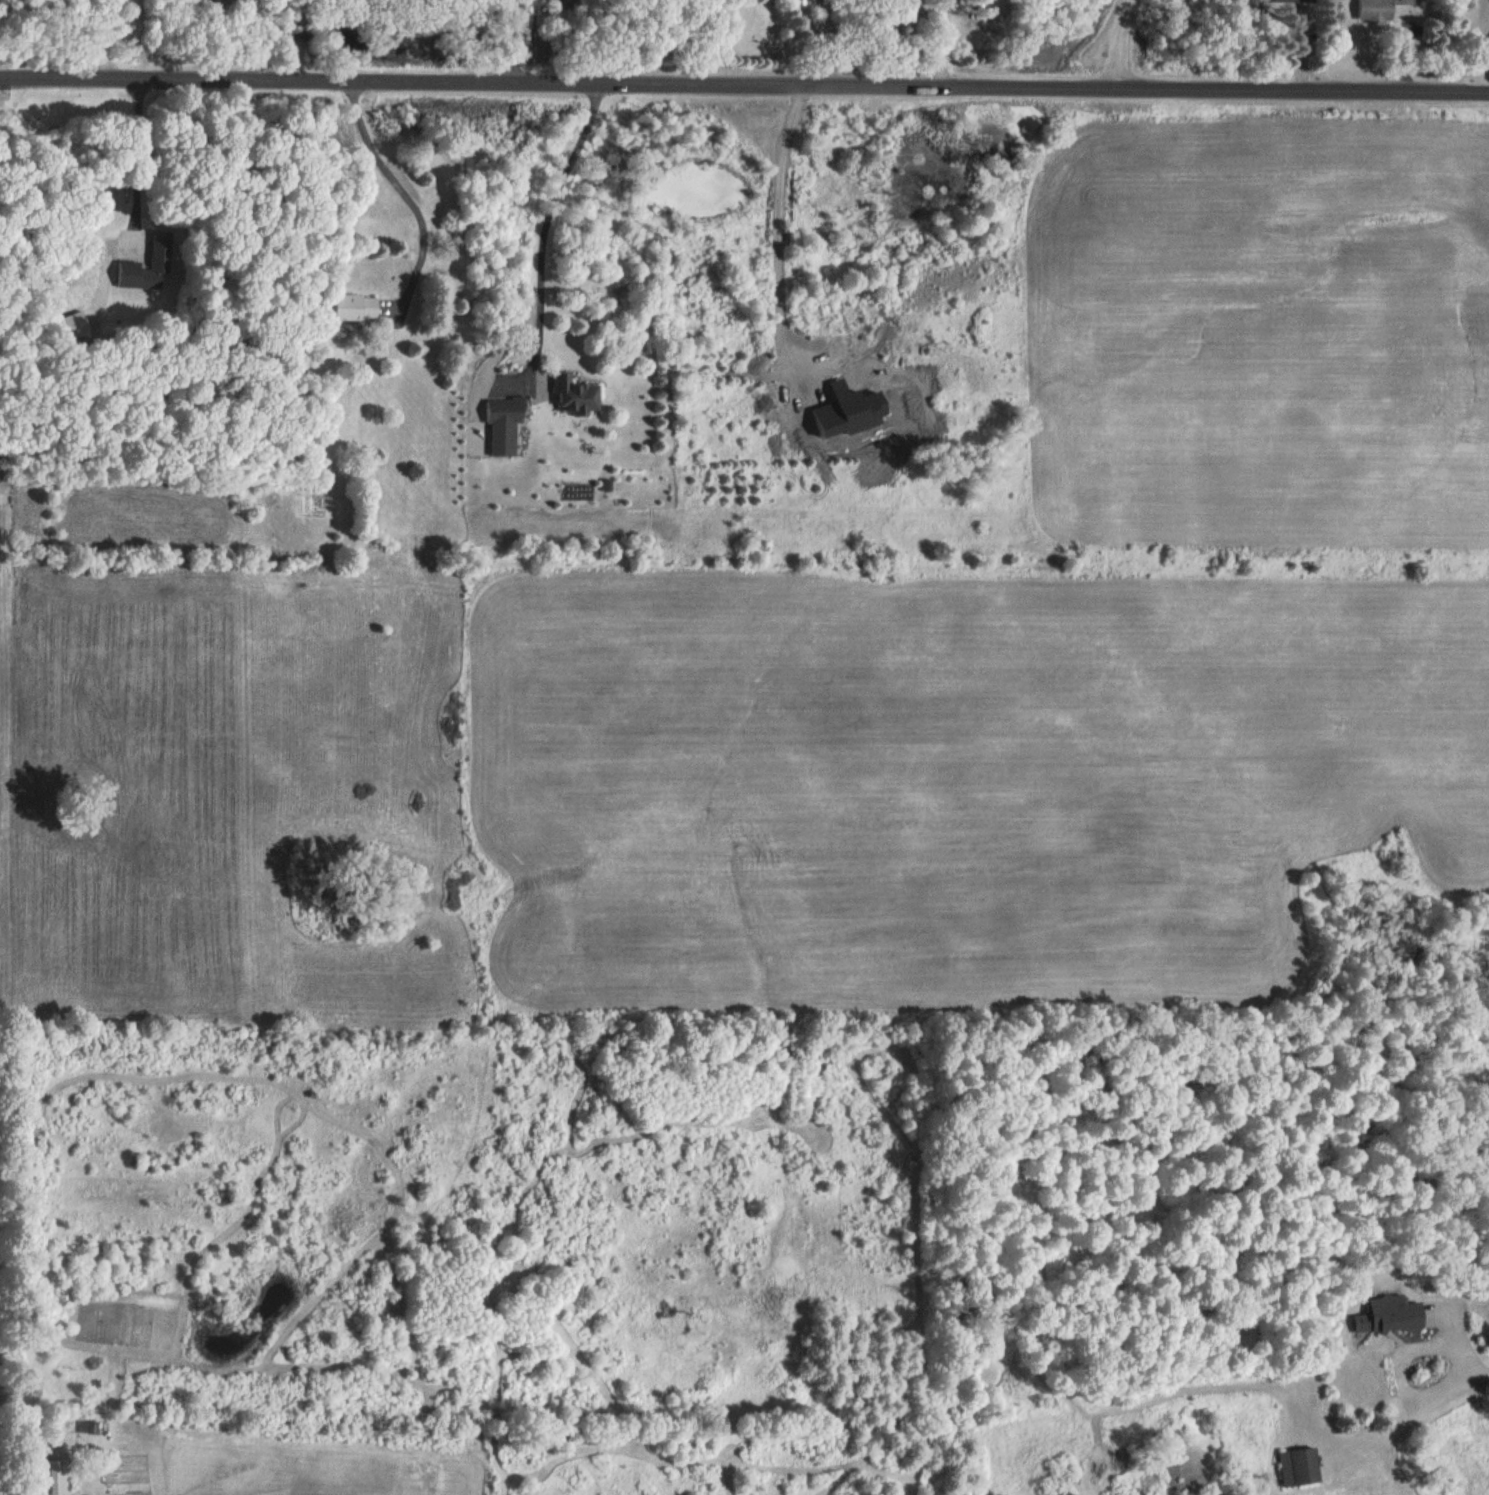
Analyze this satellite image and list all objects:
building: (1273, 1)
building: (1369, 10)
road: (516, 39)
road: (1111, 42)
road: (1459, 45)
road: (744, 80)
road: (136, 158)
road: (405, 190)
road: (544, 225)
building: (153, 261)
building: (366, 304)
building: (583, 393)
building: (511, 409)
building: (1375, 1316)
road: (1399, 1365)
road: (1485, 1368)
building: (1292, 1467)
building: (65, 1476)

